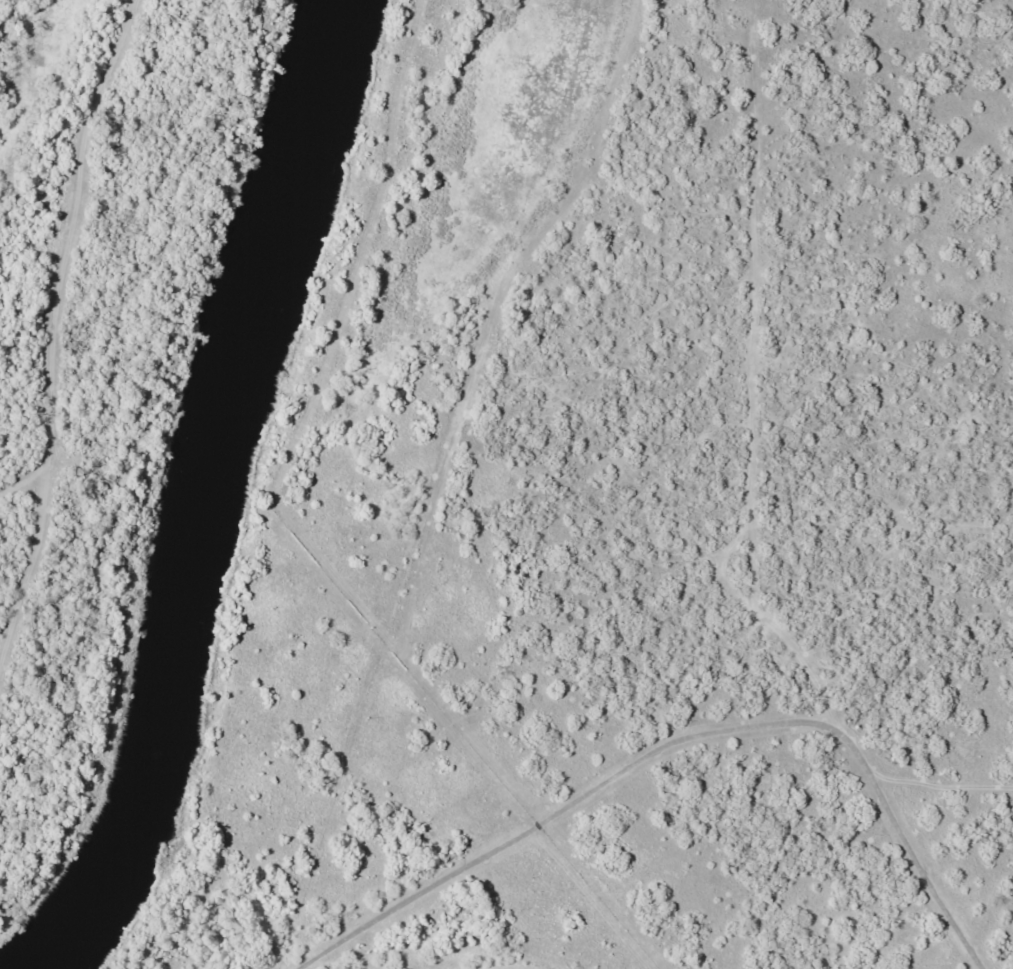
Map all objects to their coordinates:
river: (209, 495)
road: (429, 689)
road: (480, 916)

